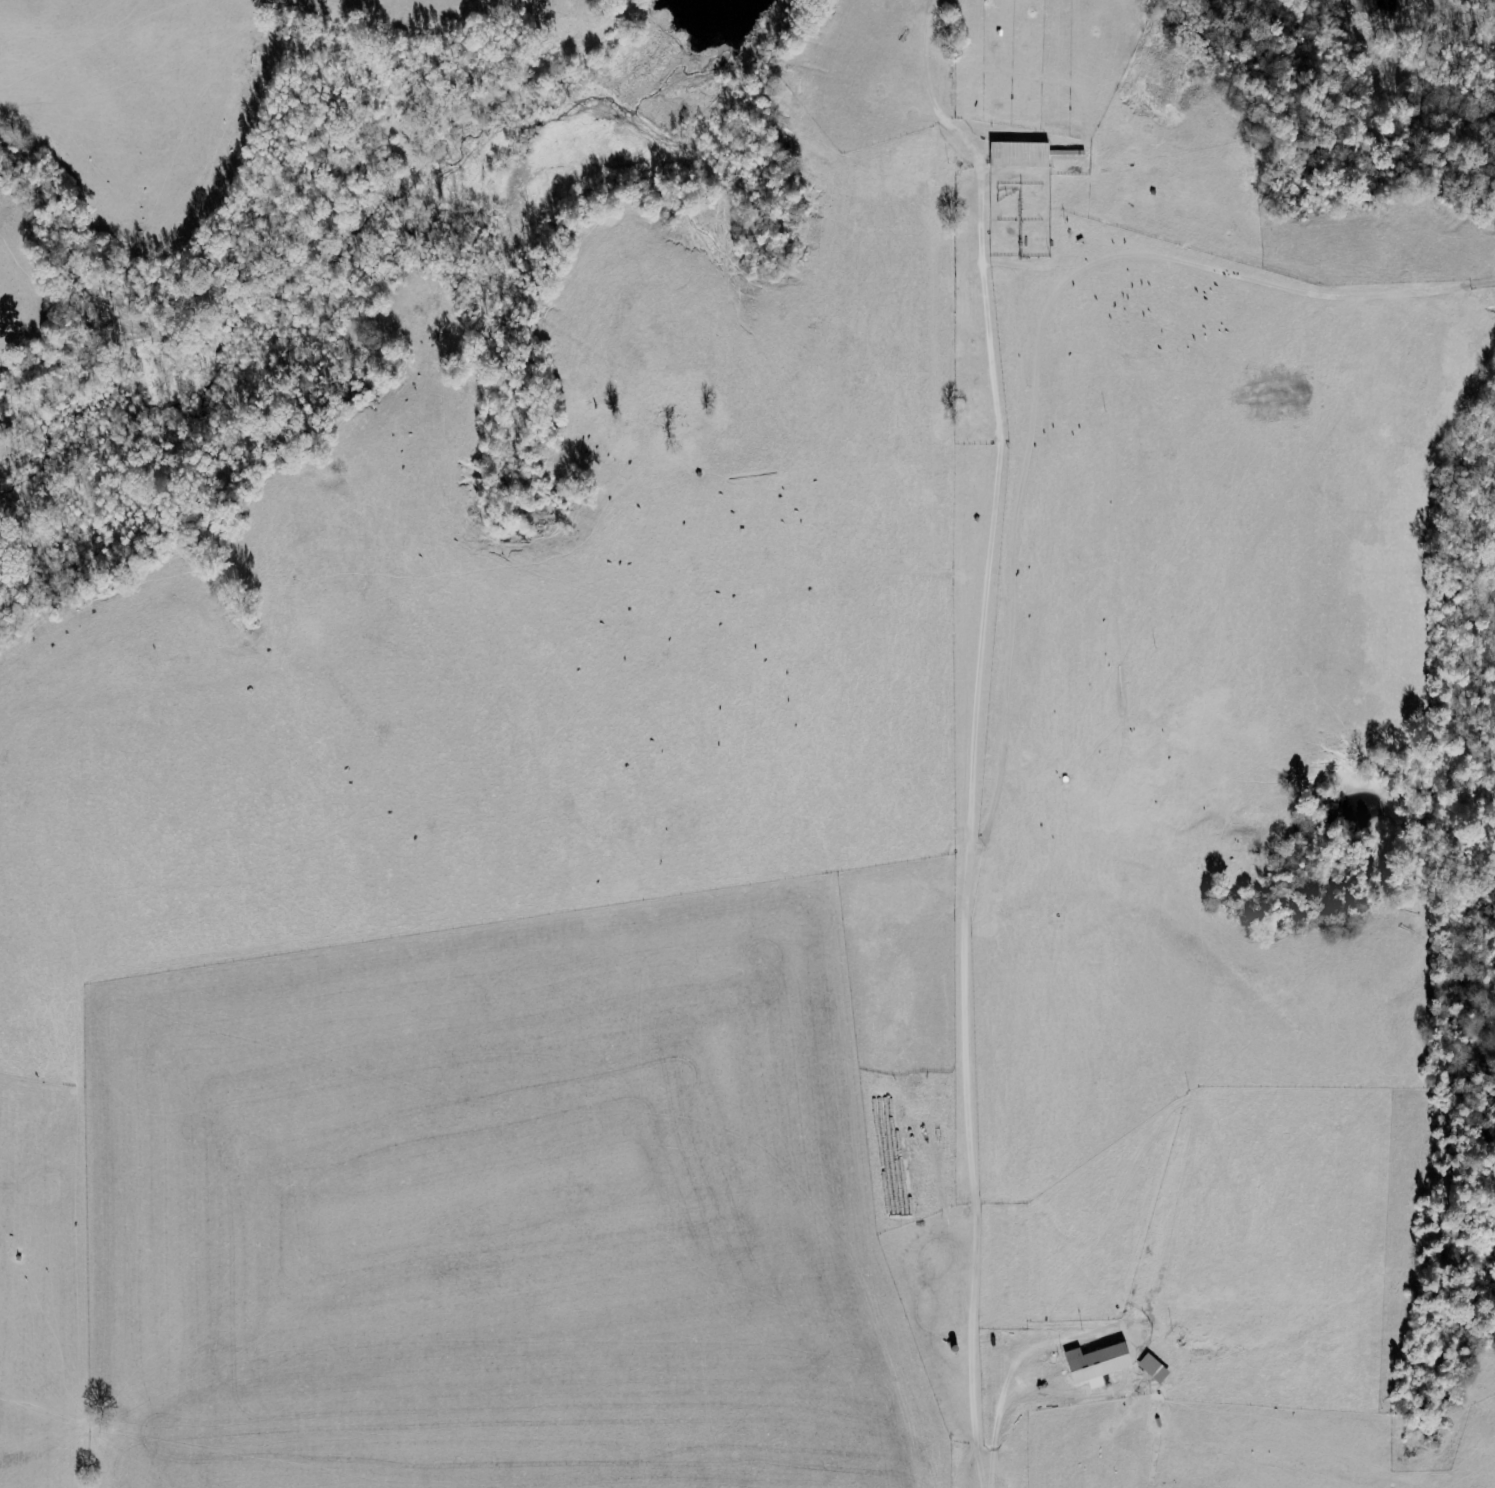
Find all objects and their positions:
building: (1093, 1364)
building: (1151, 1369)

